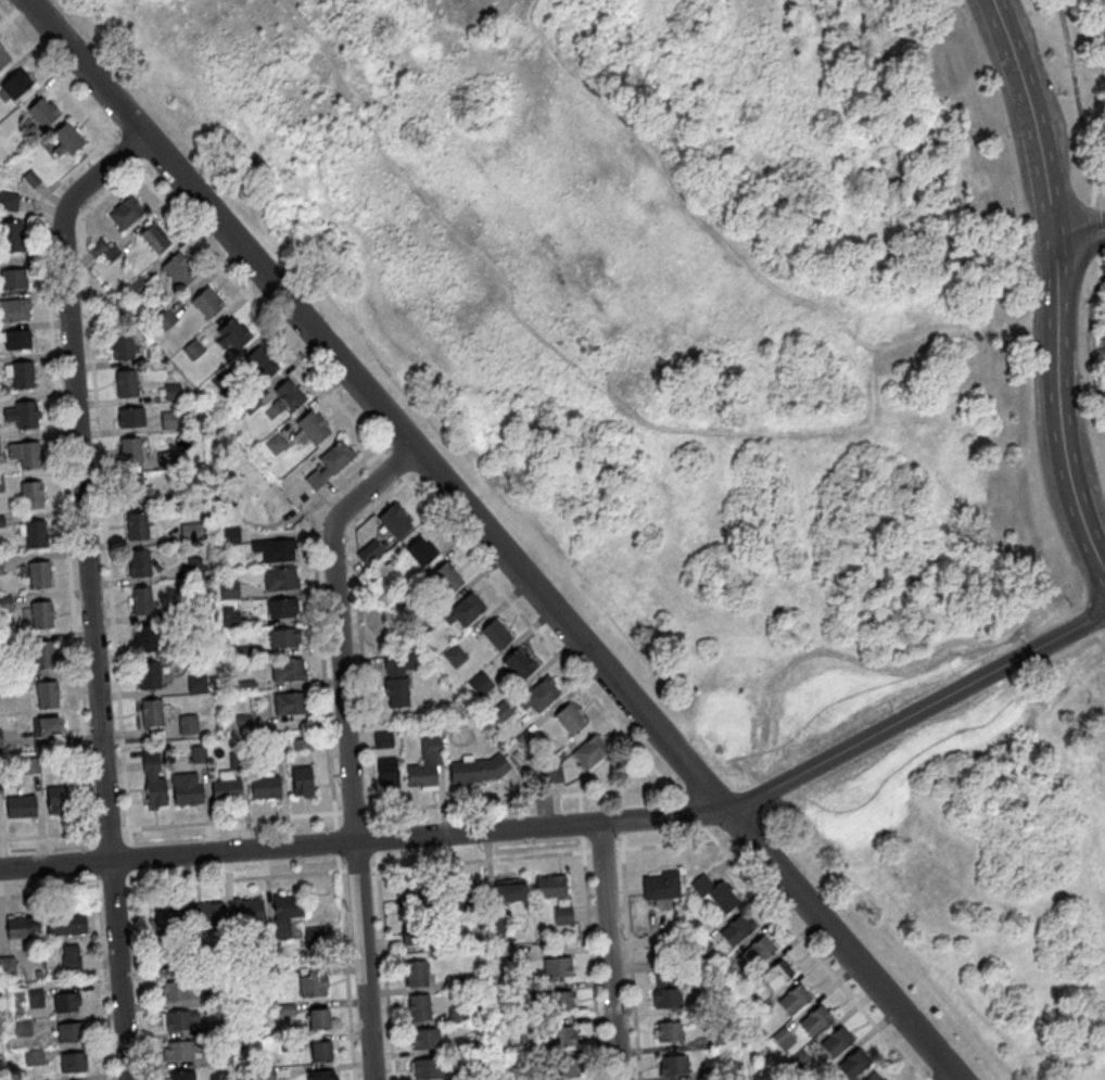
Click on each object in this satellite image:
street lamp: (962, 9)
building: (3, 60)
road: (58, 76)
building: (15, 87)
road: (1077, 97)
building: (42, 115)
building: (7, 127)
street lamp: (1007, 139)
building: (66, 142)
road: (123, 153)
road: (1100, 175)
building: (30, 180)
road: (1092, 193)
road: (674, 198)
building: (8, 203)
building: (124, 217)
road: (1093, 229)
road: (1078, 232)
building: (11, 239)
building: (153, 241)
building: (97, 251)
building: (110, 257)
road: (1101, 261)
street lamp: (1028, 265)
building: (177, 274)
building: (14, 281)
road: (1056, 288)
building: (134, 292)
building: (206, 306)
building: (14, 312)
building: (164, 322)
road: (965, 322)
building: (231, 338)
road: (1090, 339)
building: (16, 342)
road: (545, 342)
building: (122, 350)
building: (192, 353)
building: (259, 366)
building: (22, 378)
building: (218, 381)
building: (125, 387)
street lamp: (1087, 393)
building: (172, 394)
building: (289, 397)
park: (750, 397)
building: (250, 407)
building: (26, 417)
building: (129, 421)
building: (167, 422)
building: (312, 430)
road: (394, 437)
building: (274, 446)
building: (128, 454)
building: (24, 456)
building: (166, 462)
building: (329, 468)
road: (420, 468)
road: (61, 474)
road: (405, 479)
building: (1, 486)
road: (102, 492)
building: (135, 493)
building: (30, 496)
building: (176, 504)
building: (1, 523)
building: (393, 524)
building: (136, 529)
building: (190, 534)
building: (36, 536)
building: (227, 537)
road: (492, 539)
building: (274, 552)
building: (421, 554)
building: (369, 556)
building: (138, 566)
building: (0, 568)
building: (195, 570)
building: (38, 576)
building: (446, 581)
building: (279, 582)
road: (88, 589)
building: (228, 592)
building: (403, 598)
building: (140, 602)
building: (5, 605)
building: (181, 611)
building: (281, 611)
building: (462, 613)
road: (318, 615)
building: (41, 618)
building: (229, 619)
road: (358, 633)
building: (495, 637)
building: (283, 640)
building: (145, 641)
building: (246, 653)
building: (454, 657)
building: (42, 658)
building: (397, 664)
building: (517, 668)
building: (287, 673)
building: (148, 678)
building: (18, 682)
building: (196, 686)
building: (479, 686)
building: (245, 688)
building: (396, 695)
building: (47, 698)
building: (538, 698)
building: (287, 707)
street lamp: (896, 712)
building: (500, 713)
building: (150, 715)
building: (242, 722)
building: (569, 723)
building: (187, 727)
building: (48, 732)
building: (0, 742)
building: (383, 742)
building: (524, 742)
building: (302, 746)
road: (345, 746)
building: (277, 750)
building: (198, 755)
building: (589, 755)
building: (516, 757)
building: (236, 763)
building: (426, 767)
building: (29, 768)
building: (551, 772)
building: (478, 773)
building: (386, 776)
road: (647, 776)
building: (152, 782)
building: (302, 785)
building: (0, 790)
building: (265, 791)
building: (185, 792)
building: (226, 793)
road: (516, 797)
road: (617, 798)
road: (579, 801)
building: (55, 804)
road: (352, 809)
building: (20, 810)
road: (690, 810)
road: (619, 817)
road: (230, 818)
road: (575, 822)
road: (581, 822)
road: (109, 828)
road: (48, 833)
road: (373, 837)
road: (621, 839)
road: (335, 840)
road: (664, 843)
road: (601, 848)
road: (129, 856)
road: (480, 857)
road: (90, 860)
road: (357, 867)
road: (236, 877)
road: (113, 886)
building: (701, 888)
building: (660, 889)
building: (549, 890)
road: (50, 891)
building: (509, 894)
building: (460, 897)
building: (723, 900)
building: (414, 901)
building: (246, 913)
building: (207, 915)
building: (284, 917)
building: (562, 917)
building: (168, 919)
building: (65, 927)
building: (493, 928)
building: (445, 930)
building: (20, 931)
building: (737, 931)
building: (412, 937)
building: (312, 940)
road: (608, 950)
building: (702, 950)
road: (810, 950)
building: (758, 953)
building: (194, 954)
building: (165, 957)
road: (590, 957)
building: (517, 960)
building: (69, 962)
road: (631, 963)
road: (384, 965)
road: (345, 967)
building: (722, 967)
building: (7, 968)
building: (556, 970)
road: (139, 975)
road: (101, 976)
building: (416, 977)
building: (776, 977)
building: (278, 978)
building: (454, 984)
building: (664, 987)
building: (312, 989)
building: (518, 993)
building: (174, 994)
building: (225, 995)
building: (35, 1001)
building: (793, 1002)
building: (558, 1005)
building: (65, 1006)
building: (419, 1011)
building: (285, 1012)
building: (455, 1017)
building: (754, 1018)
building: (178, 1024)
building: (814, 1024)
building: (317, 1025)
building: (22, 1031)
building: (212, 1031)
building: (526, 1031)
building: (68, 1035)
building: (670, 1035)
building: (558, 1040)
building: (719, 1040)
building: (783, 1041)
building: (424, 1042)
building: (836, 1045)
building: (475, 1046)
building: (289, 1047)
building: (179, 1053)
building: (319, 1057)
building: (223, 1059)
building: (33, 1060)
building: (521, 1062)
building: (800, 1062)
building: (72, 1066)
building: (853, 1067)
building: (673, 1068)
road: (928, 1069)
building: (563, 1070)
building: (427, 1071)
building: (719, 1072)
building: (264, 1075)
building: (462, 1076)
building: (181, 1077)
building: (320, 1077)
building: (873, 1078)
road: (920, 1078)
road: (950, 1078)
road: (916, 1079)

